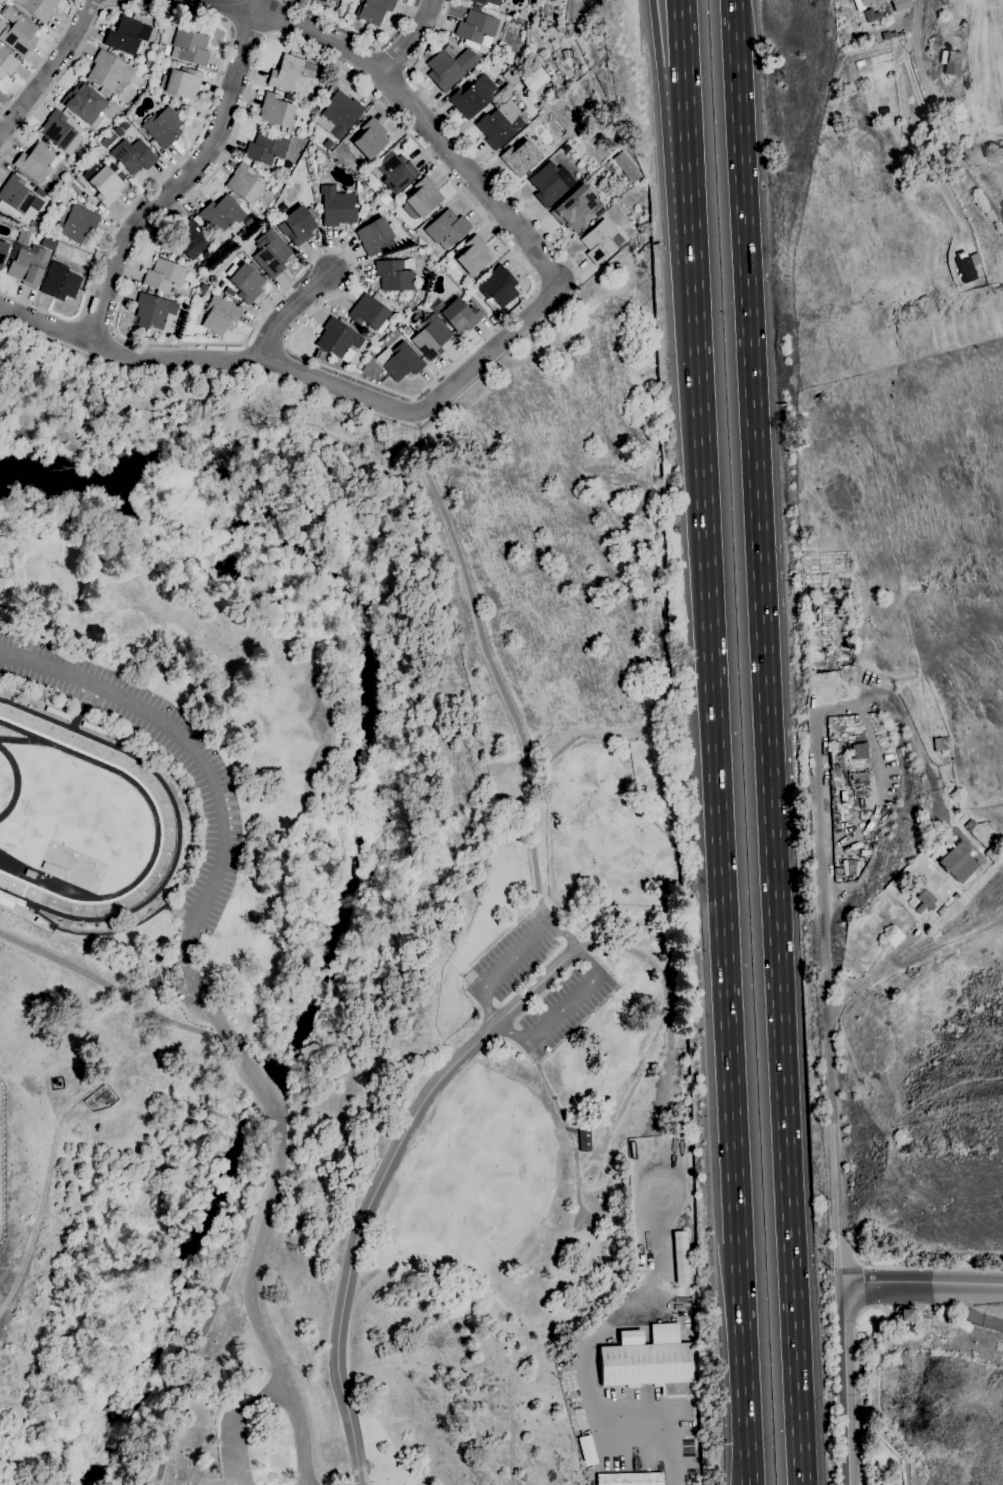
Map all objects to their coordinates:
building: (538, 0)
building: (321, 1)
building: (487, 2)
building: (862, 4)
building: (901, 7)
building: (38, 8)
building: (374, 10)
road: (231, 13)
building: (337, 13)
building: (522, 16)
building: (871, 16)
road: (274, 18)
road: (916, 19)
building: (197, 24)
building: (479, 28)
road: (248, 30)
building: (17, 32)
building: (893, 35)
building: (900, 35)
building: (128, 36)
building: (886, 36)
road: (359, 38)
road: (407, 38)
building: (189, 47)
road: (680, 52)
road: (656, 55)
building: (546, 59)
road: (42, 60)
road: (393, 60)
building: (147, 63)
building: (951, 63)
building: (7, 64)
building: (134, 64)
road: (49, 67)
building: (450, 67)
building: (147, 71)
building: (108, 72)
building: (287, 74)
building: (533, 80)
road: (215, 81)
building: (181, 82)
building: (83, 103)
road: (413, 110)
building: (506, 111)
building: (276, 112)
building: (339, 115)
building: (163, 126)
building: (58, 130)
road: (234, 136)
road: (929, 138)
building: (370, 139)
road: (468, 144)
building: (266, 148)
building: (133, 156)
building: (964, 157)
building: (520, 158)
building: (36, 162)
building: (625, 167)
building: (394, 172)
road: (185, 179)
building: (105, 182)
building: (243, 183)
building: (550, 184)
road: (687, 186)
building: (50, 191)
building: (14, 198)
building: (421, 199)
building: (337, 208)
building: (576, 209)
building: (222, 214)
building: (249, 220)
building: (74, 222)
building: (298, 225)
building: (446, 229)
building: (375, 236)
building: (191, 240)
building: (600, 241)
building: (170, 250)
building: (2, 252)
building: (271, 253)
building: (473, 256)
building: (27, 265)
building: (968, 265)
building: (164, 276)
building: (393, 276)
building: (213, 279)
building: (60, 282)
building: (245, 282)
building: (203, 288)
building: (498, 289)
building: (153, 311)
road: (295, 314)
building: (369, 314)
building: (457, 315)
building: (220, 316)
road: (96, 325)
building: (189, 330)
building: (431, 338)
building: (339, 340)
building: (321, 355)
building: (402, 362)
road: (303, 374)
road: (346, 374)
river: (372, 656)
road: (492, 666)
road: (184, 740)
road: (767, 742)
building: (941, 744)
building: (859, 751)
building: (836, 762)
parking lot: (210, 778)
building: (860, 779)
track: (165, 811)
building: (968, 823)
building: (994, 853)
building: (957, 864)
building: (846, 870)
road: (719, 875)
building: (956, 897)
building: (924, 900)
building: (17, 908)
road: (824, 914)
building: (40, 923)
park: (350, 928)
road: (108, 934)
building: (895, 938)
road: (600, 973)
building: (151, 980)
parking lot: (538, 984)
road: (198, 992)
road: (118, 995)
road: (259, 1077)
river: (263, 1090)
road: (569, 1131)
building: (584, 1140)
solar farm: (2, 1162)
road: (383, 1184)
road: (837, 1204)
building: (681, 1257)
road: (924, 1268)
building: (639, 1272)
road: (922, 1284)
river: (179, 1294)
road: (225, 1300)
road: (252, 1300)
road: (971, 1315)
building: (905, 1316)
building: (650, 1363)
road: (844, 1384)
road: (857, 1384)
park: (944, 1404)
road: (232, 1419)
road: (679, 1445)
building: (630, 1479)
road: (746, 1484)
road: (747, 1484)

